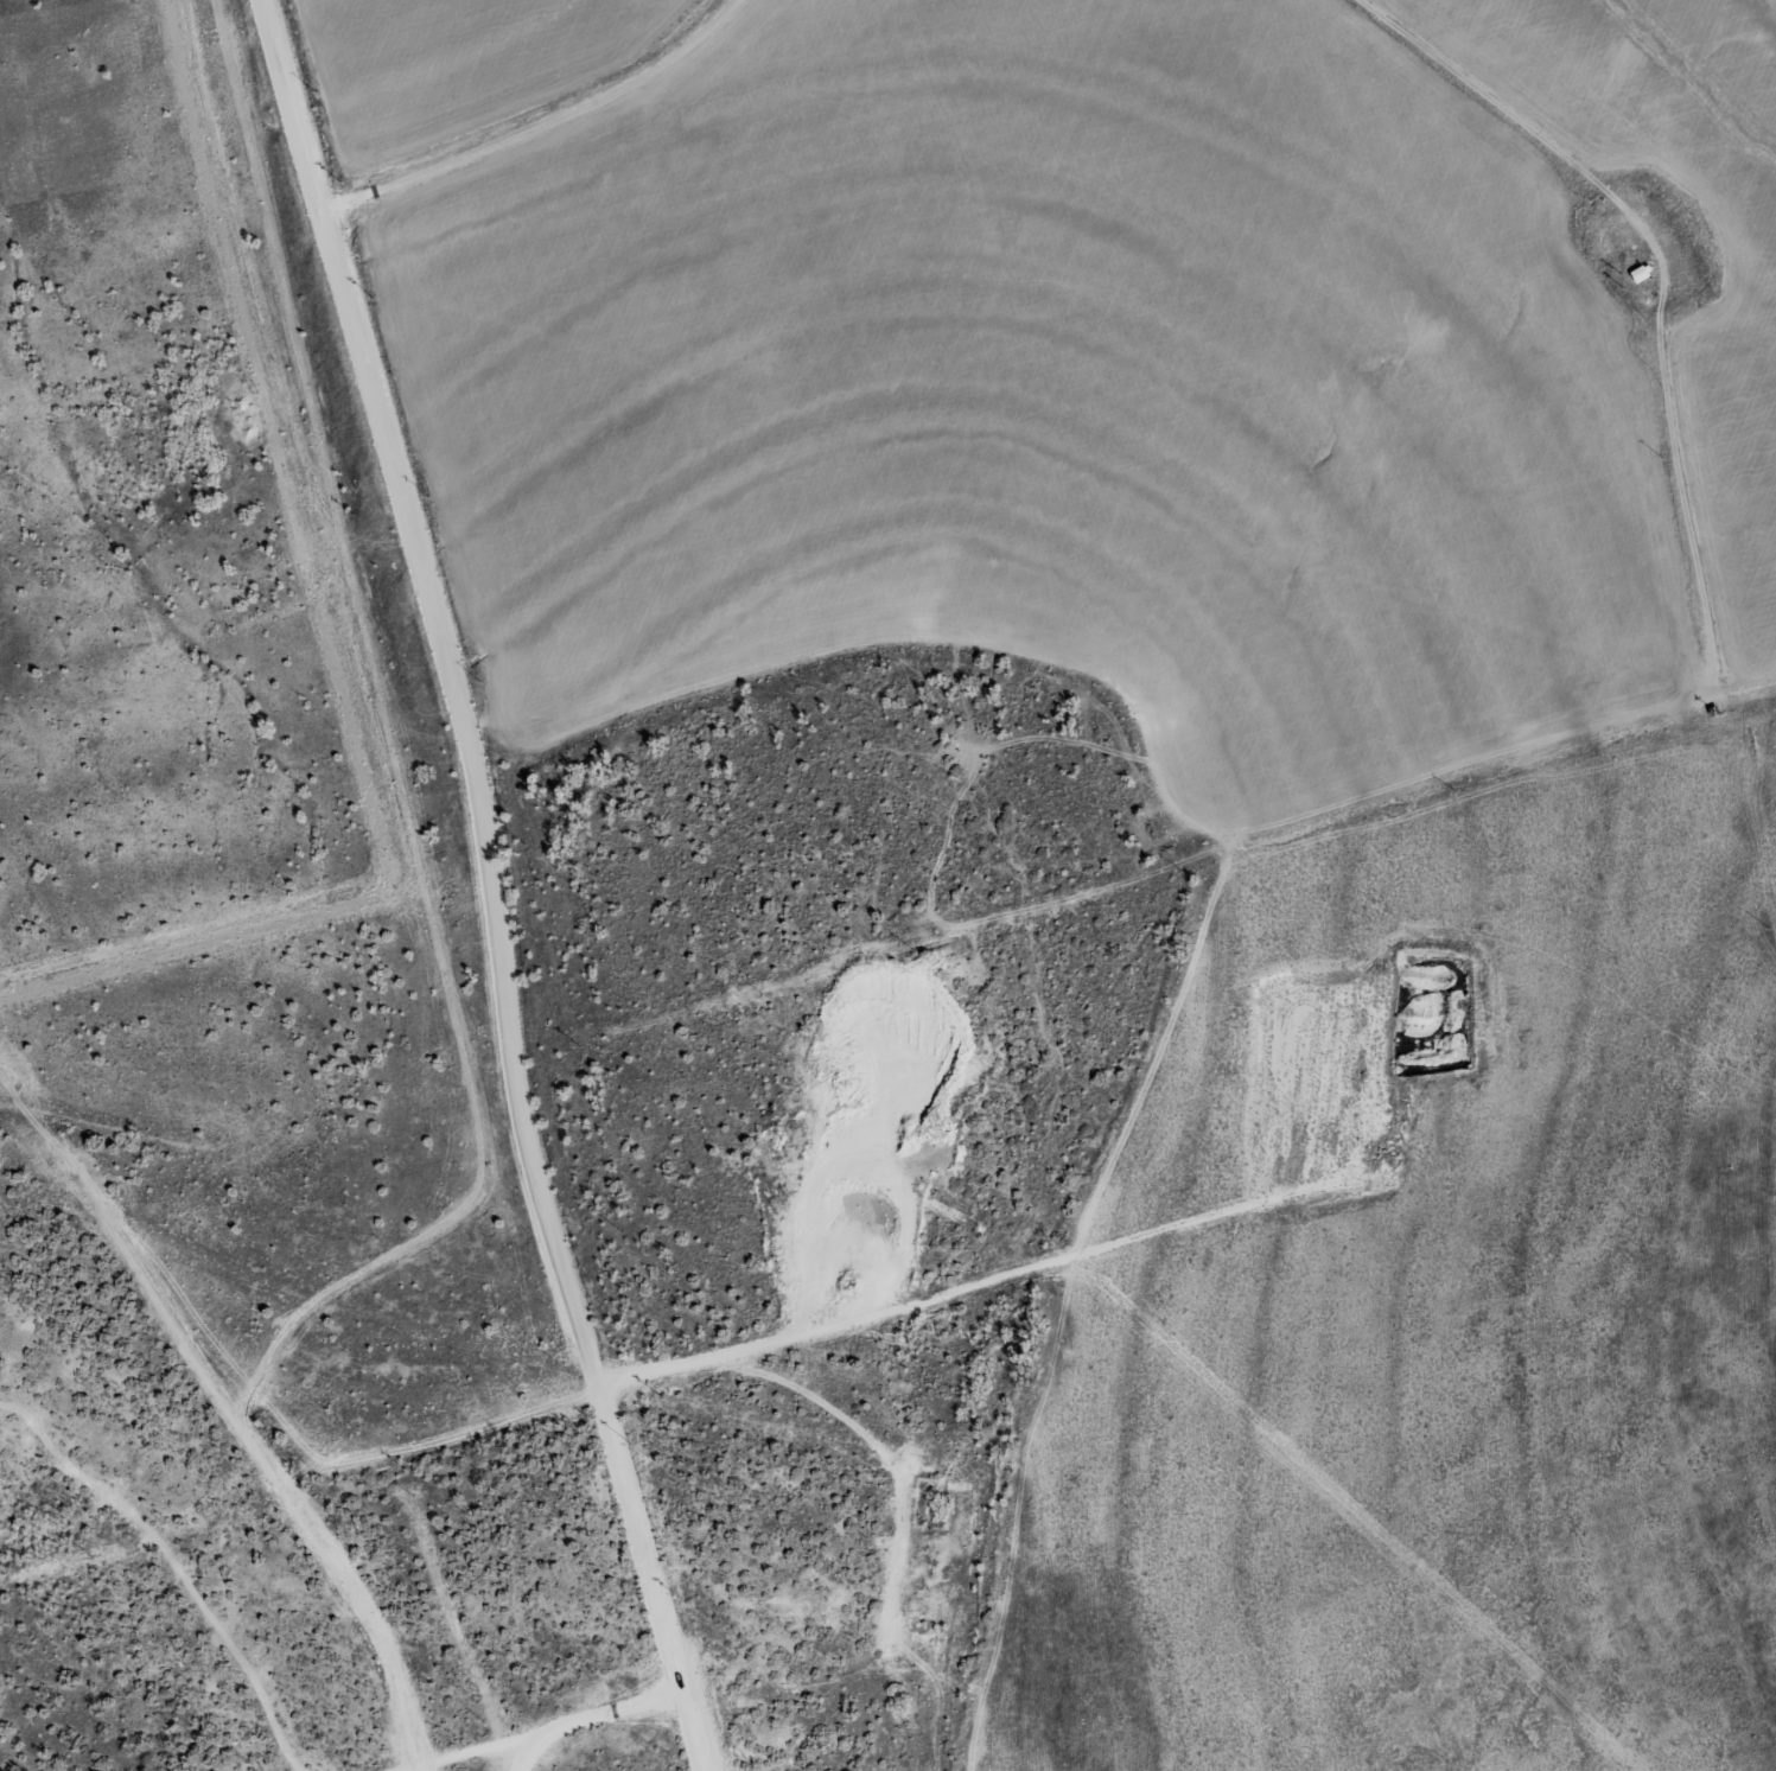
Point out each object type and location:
road: (1606, 158)
road: (480, 885)

